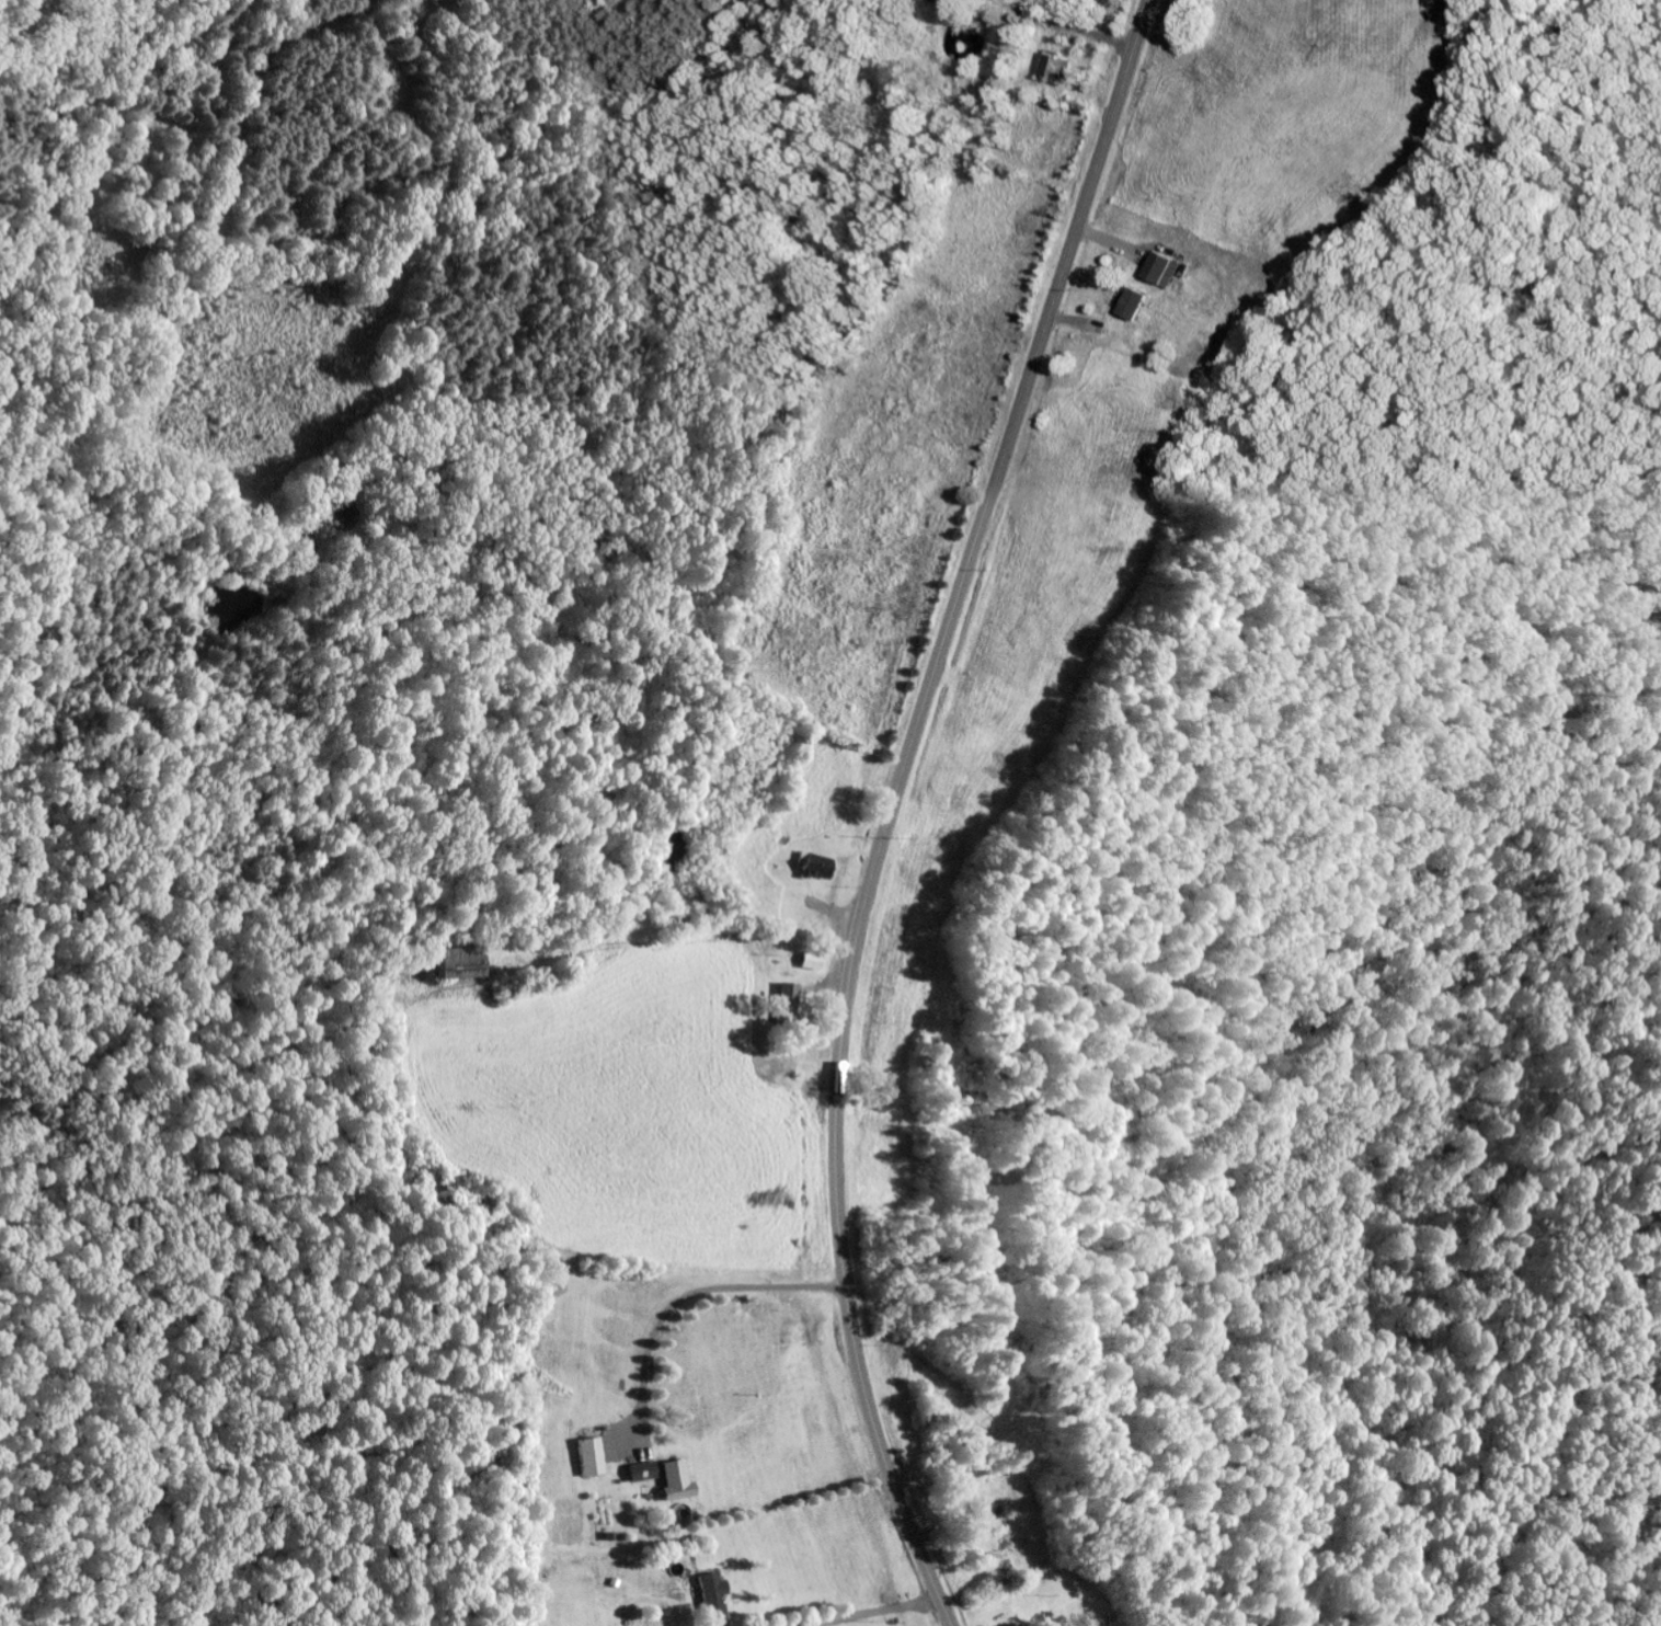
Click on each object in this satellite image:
road: (1034, 24)
road: (263, 65)
building: (1056, 68)
building: (1164, 271)
building: (1135, 306)
road: (892, 805)
building: (821, 867)
building: (814, 961)
building: (467, 963)
building: (792, 999)
building: (588, 1456)
building: (639, 1472)
building: (672, 1480)
building: (710, 1598)
building: (1012, 1624)

